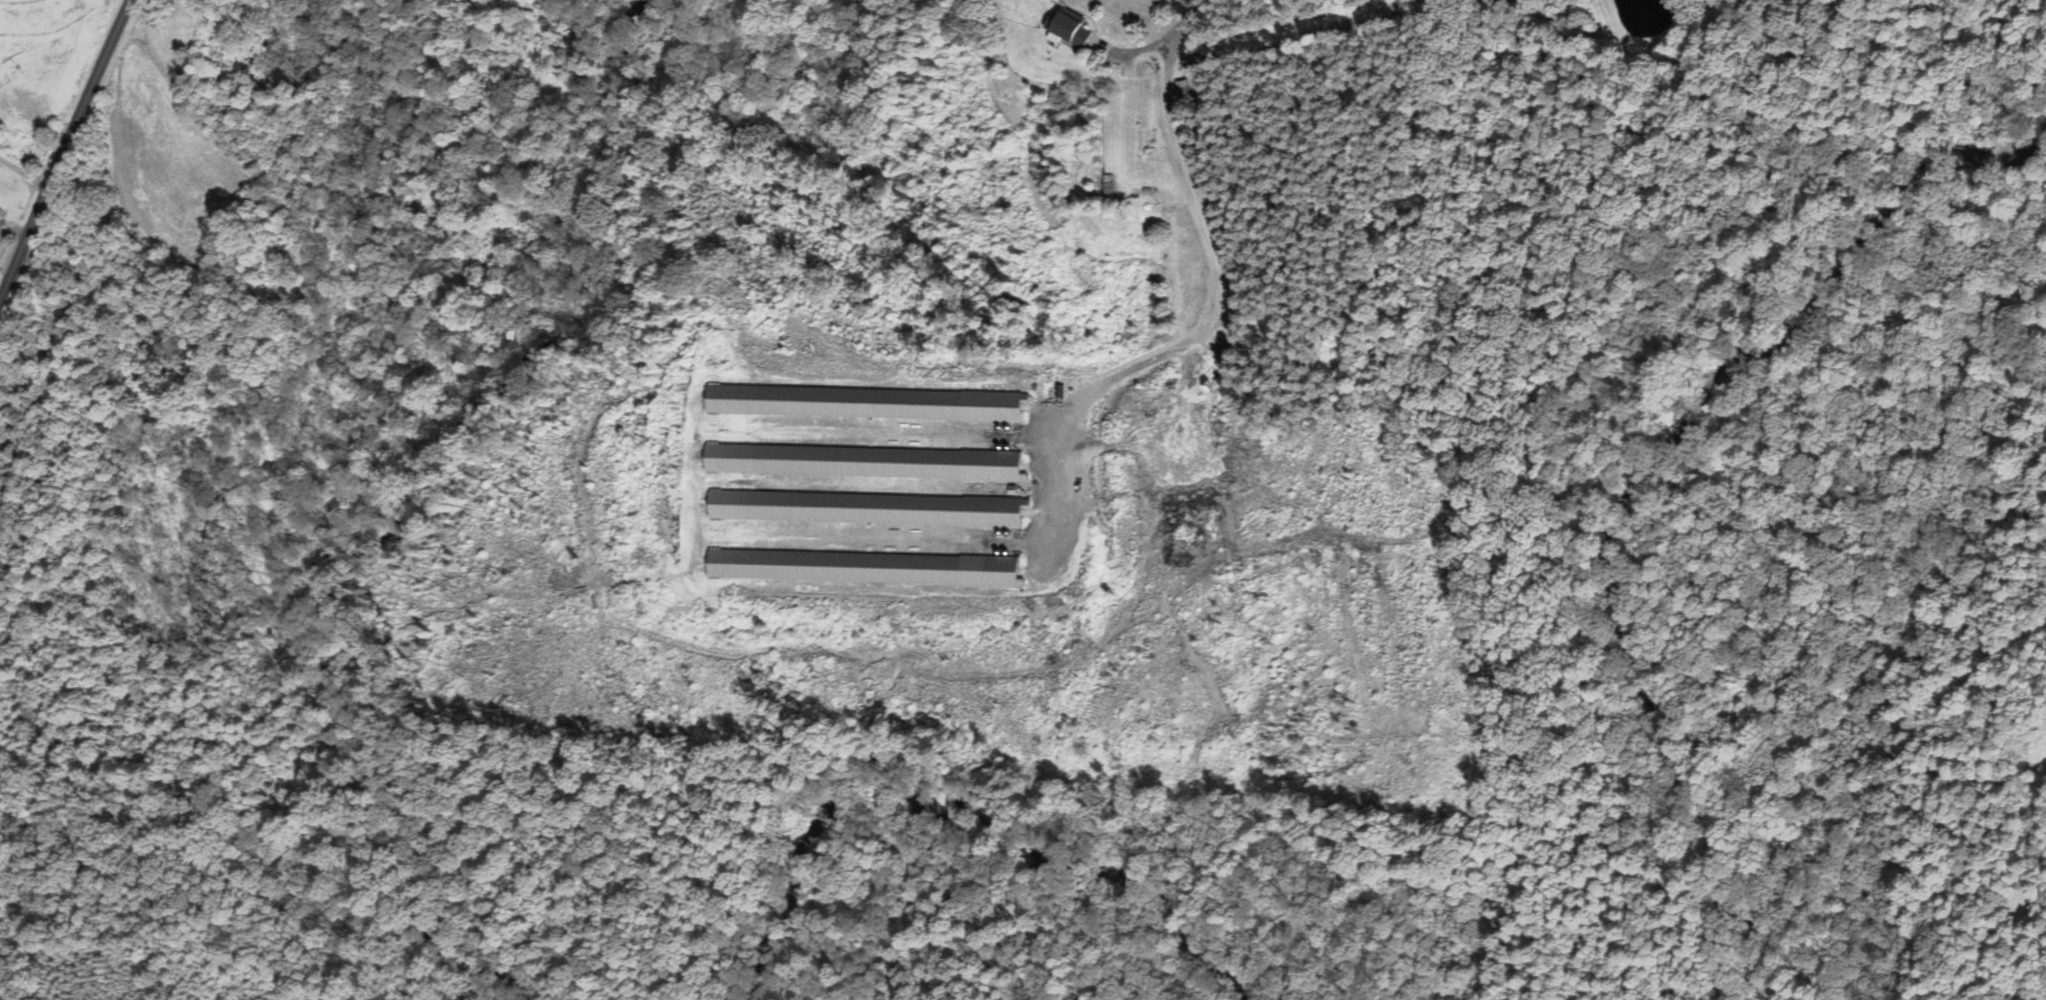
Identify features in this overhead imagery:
building: (1074, 27)
building: (1182, 88)
road: (64, 148)
road: (23, 174)
building: (1113, 189)
road: (1214, 316)

